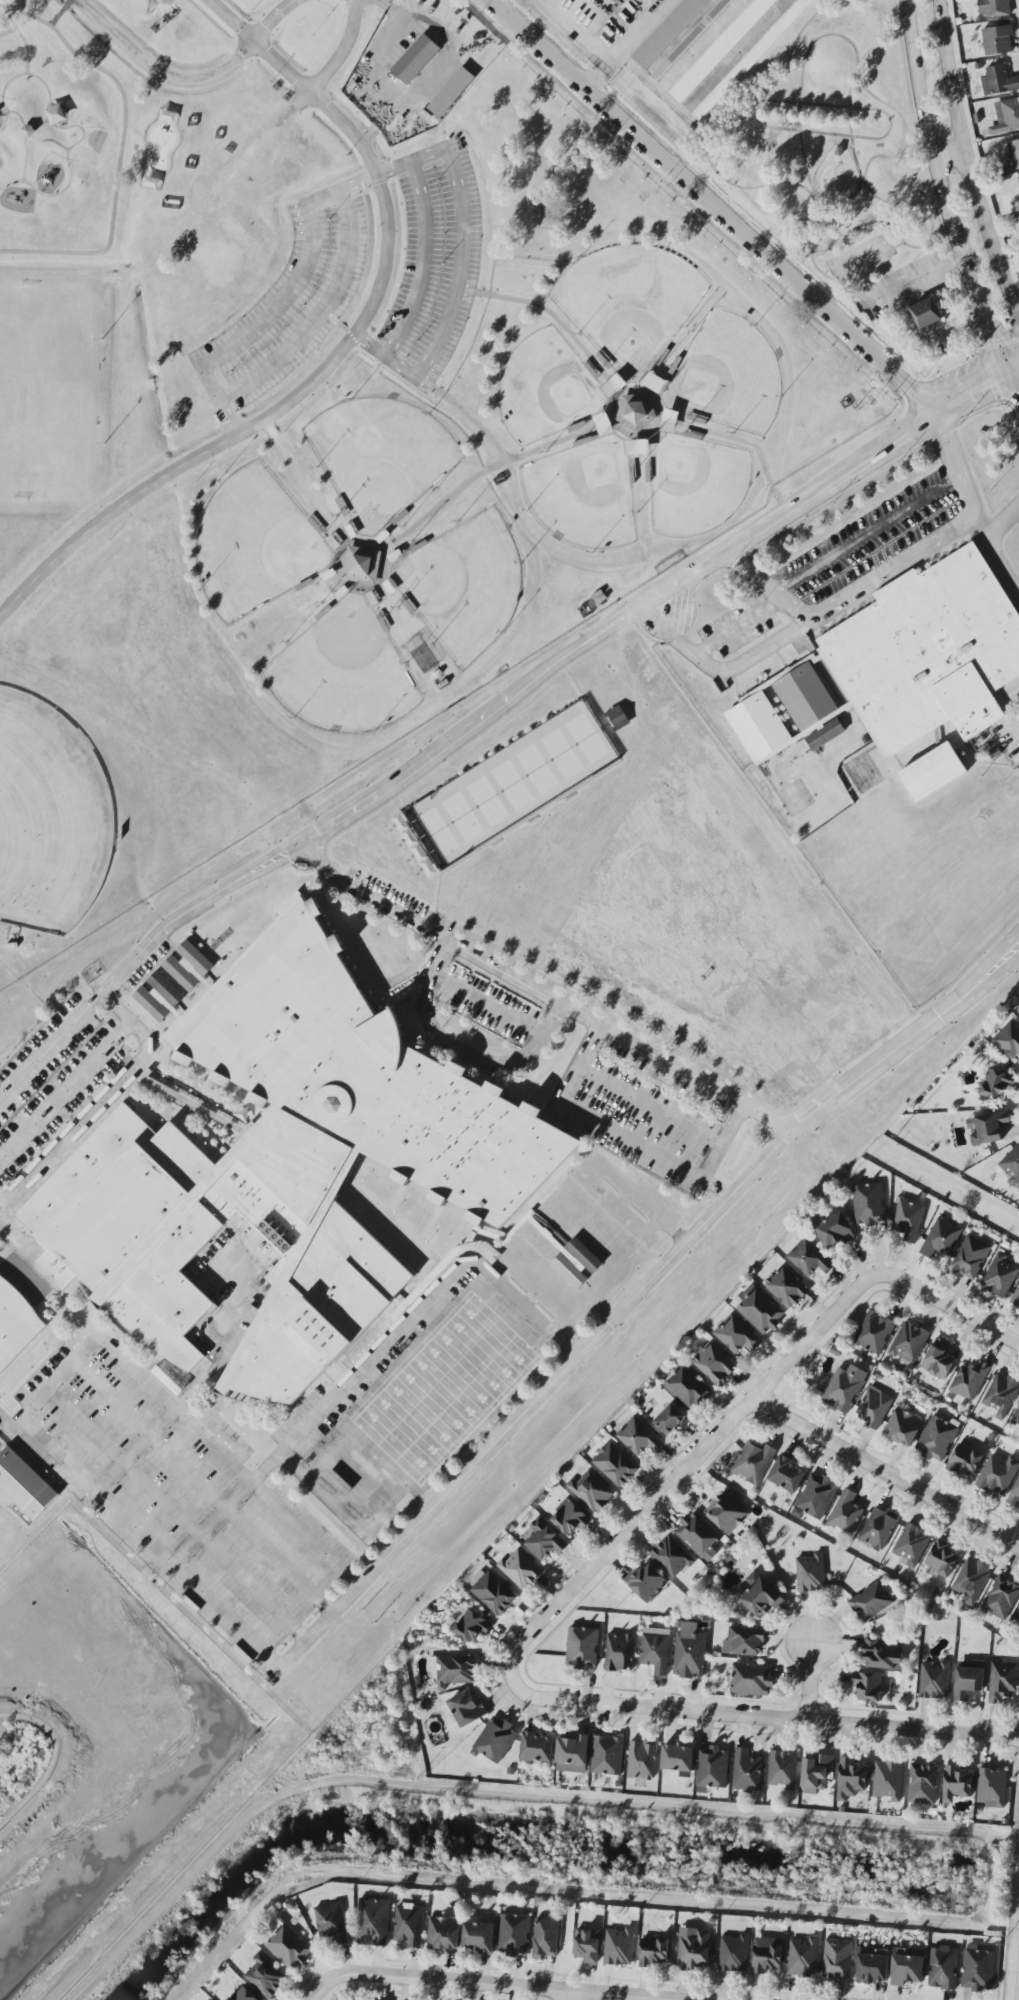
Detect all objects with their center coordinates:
building: (994, 8)
road: (272, 18)
road: (7, 32)
building: (669, 33)
road: (20, 39)
building: (690, 39)
building: (997, 40)
road: (627, 44)
road: (699, 45)
building: (720, 49)
road: (342, 51)
road: (731, 56)
building: (415, 59)
building: (750, 59)
road: (163, 70)
road: (34, 74)
building: (998, 81)
road: (799, 86)
road: (653, 87)
building: (451, 92)
building: (1006, 116)
road: (7, 122)
road: (35, 135)
road: (883, 136)
road: (928, 139)
road: (32, 145)
road: (120, 148)
park: (829, 152)
building: (1014, 153)
road: (853, 155)
road: (947, 155)
road: (967, 164)
road: (74, 175)
road: (376, 176)
building: (1018, 176)
road: (713, 205)
road: (893, 213)
road: (840, 241)
road: (896, 245)
road: (861, 261)
road: (421, 262)
parking lot: (431, 263)
road: (459, 265)
road: (815, 269)
road: (886, 272)
road: (911, 281)
road: (281, 301)
parking lot: (289, 303)
park: (628, 304)
building: (926, 313)
road: (319, 317)
road: (556, 320)
road: (986, 325)
road: (350, 337)
road: (341, 351)
road: (384, 355)
traffic signals: (1003, 375)
park: (726, 376)
building: (655, 383)
building: (614, 385)
park: (545, 389)
road: (1011, 389)
park: (45, 402)
road: (218, 402)
building: (635, 410)
park: (327, 411)
road: (465, 413)
building: (669, 422)
road: (652, 431)
road: (741, 442)
building: (638, 447)
park: (378, 457)
road: (957, 462)
road: (485, 471)
road: (828, 484)
park: (694, 485)
park: (582, 495)
road: (1004, 517)
road: (867, 532)
park: (253, 545)
road: (999, 548)
building: (361, 565)
park: (462, 586)
road: (849, 596)
building: (928, 654)
park: (341, 672)
road: (720, 674)
building: (618, 718)
road: (606, 725)
building: (825, 735)
road: (991, 762)
building: (933, 772)
road: (580, 785)
park: (511, 786)
park: (49, 818)
road: (431, 861)
road: (192, 909)
road: (448, 944)
building: (188, 966)
road: (986, 969)
road: (986, 985)
building: (159, 996)
road: (486, 1005)
building: (1008, 1039)
road: (50, 1047)
road: (459, 1053)
building: (996, 1083)
road: (64, 1088)
road: (101, 1102)
road: (647, 1107)
building: (988, 1128)
road: (630, 1142)
building: (1012, 1166)
building: (290, 1170)
building: (869, 1205)
road: (4, 1210)
building: (908, 1220)
building: (834, 1231)
building: (941, 1238)
building: (584, 1255)
building: (970, 1257)
building: (810, 1259)
building: (569, 1271)
building: (1000, 1276)
building: (787, 1287)
building: (1016, 1298)
road: (950, 1307)
building: (759, 1309)
building: (16, 1325)
building: (874, 1332)
road: (217, 1335)
building: (736, 1335)
building: (909, 1342)
road: (370, 1359)
building: (938, 1360)
building: (714, 1364)
building: (170, 1378)
road: (401, 1379)
building: (970, 1380)
building: (687, 1387)
building: (846, 1387)
road: (49, 1388)
building: (1001, 1395)
road: (530, 1403)
road: (429, 1406)
building: (873, 1407)
building: (1016, 1417)
building: (670, 1419)
building: (903, 1427)
building: (639, 1437)
building: (937, 1439)
road: (134, 1450)
road: (218, 1451)
building: (965, 1460)
building: (753, 1462)
building: (615, 1465)
road: (685, 1466)
road: (417, 1473)
road: (884, 1473)
building: (787, 1474)
building: (998, 1475)
building: (24, 1484)
road: (202, 1487)
building: (592, 1491)
building: (1015, 1495)
building: (815, 1498)
building: (727, 1513)
building: (845, 1513)
road: (175, 1516)
building: (570, 1518)
building: (879, 1528)
park: (5, 1535)
building: (699, 1536)
building: (544, 1540)
road: (148, 1543)
building: (911, 1544)
building: (671, 1557)
building: (941, 1558)
building: (520, 1569)
building: (811, 1573)
building: (971, 1580)
building: (647, 1582)
building: (492, 1592)
building: (758, 1596)
building: (1001, 1597)
building: (871, 1602)
building: (1017, 1617)
building: (469, 1624)
building: (743, 1642)
building: (581, 1648)
building: (656, 1650)
building: (689, 1651)
building: (619, 1652)
building: (883, 1653)
building: (453, 1669)
building: (968, 1679)
building: (751, 1680)
road: (810, 1681)
building: (934, 1681)
building: (1002, 1681)
building: (868, 1686)
building: (467, 1708)
road: (757, 1717)
building: (495, 1740)
building: (536, 1747)
building: (572, 1753)
building: (607, 1755)
building: (642, 1759)
building: (678, 1759)
building: (712, 1767)
building: (783, 1769)
building: (746, 1772)
building: (816, 1773)
building: (850, 1778)
building: (888, 1780)
building: (923, 1784)
building: (956, 1784)
building: (992, 1788)
building: (332, 1922)
building: (373, 1922)
building: (409, 1925)
building: (443, 1934)
building: (514, 1935)
building: (479, 1937)
building: (546, 1938)
building: (587, 1945)
building: (288, 1946)
building: (619, 1947)
building: (693, 1949)
building: (653, 1952)
building: (734, 1954)
building: (767, 1955)
building: (803, 1957)
road: (1015, 1957)
building: (837, 1959)
building: (907, 1966)
building: (872, 1968)
building: (943, 1968)
building: (977, 1969)
building: (265, 1977)
road: (505, 1985)
road: (321, 1986)
building: (243, 1995)
road: (565, 1995)

